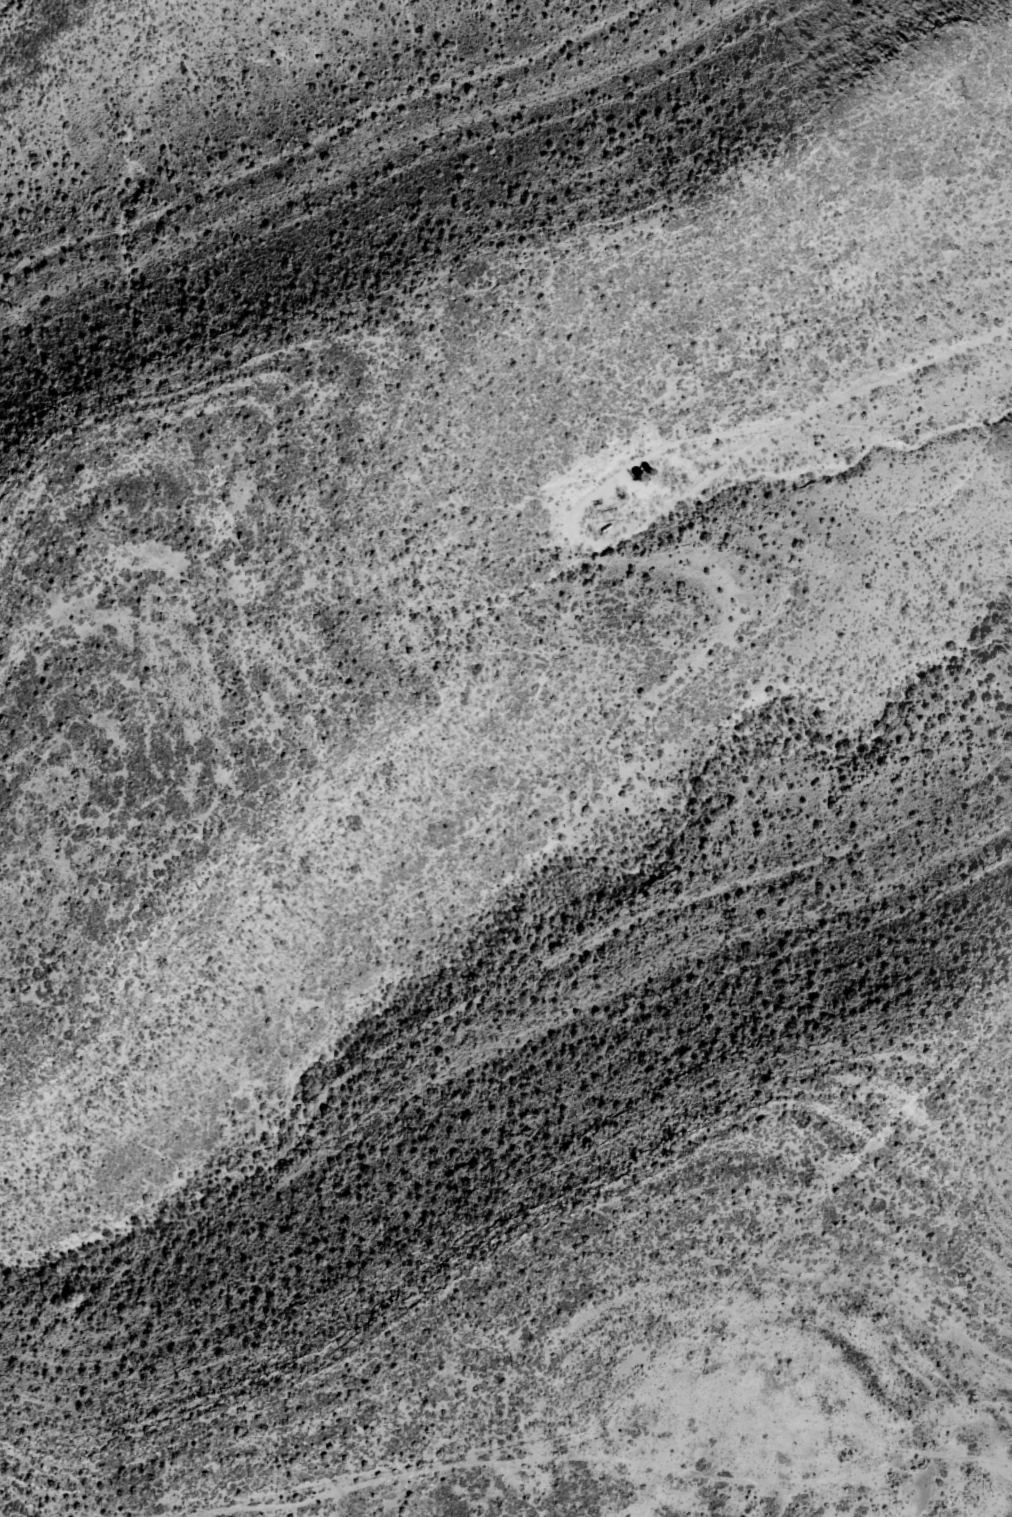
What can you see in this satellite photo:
road: (887, 369)

